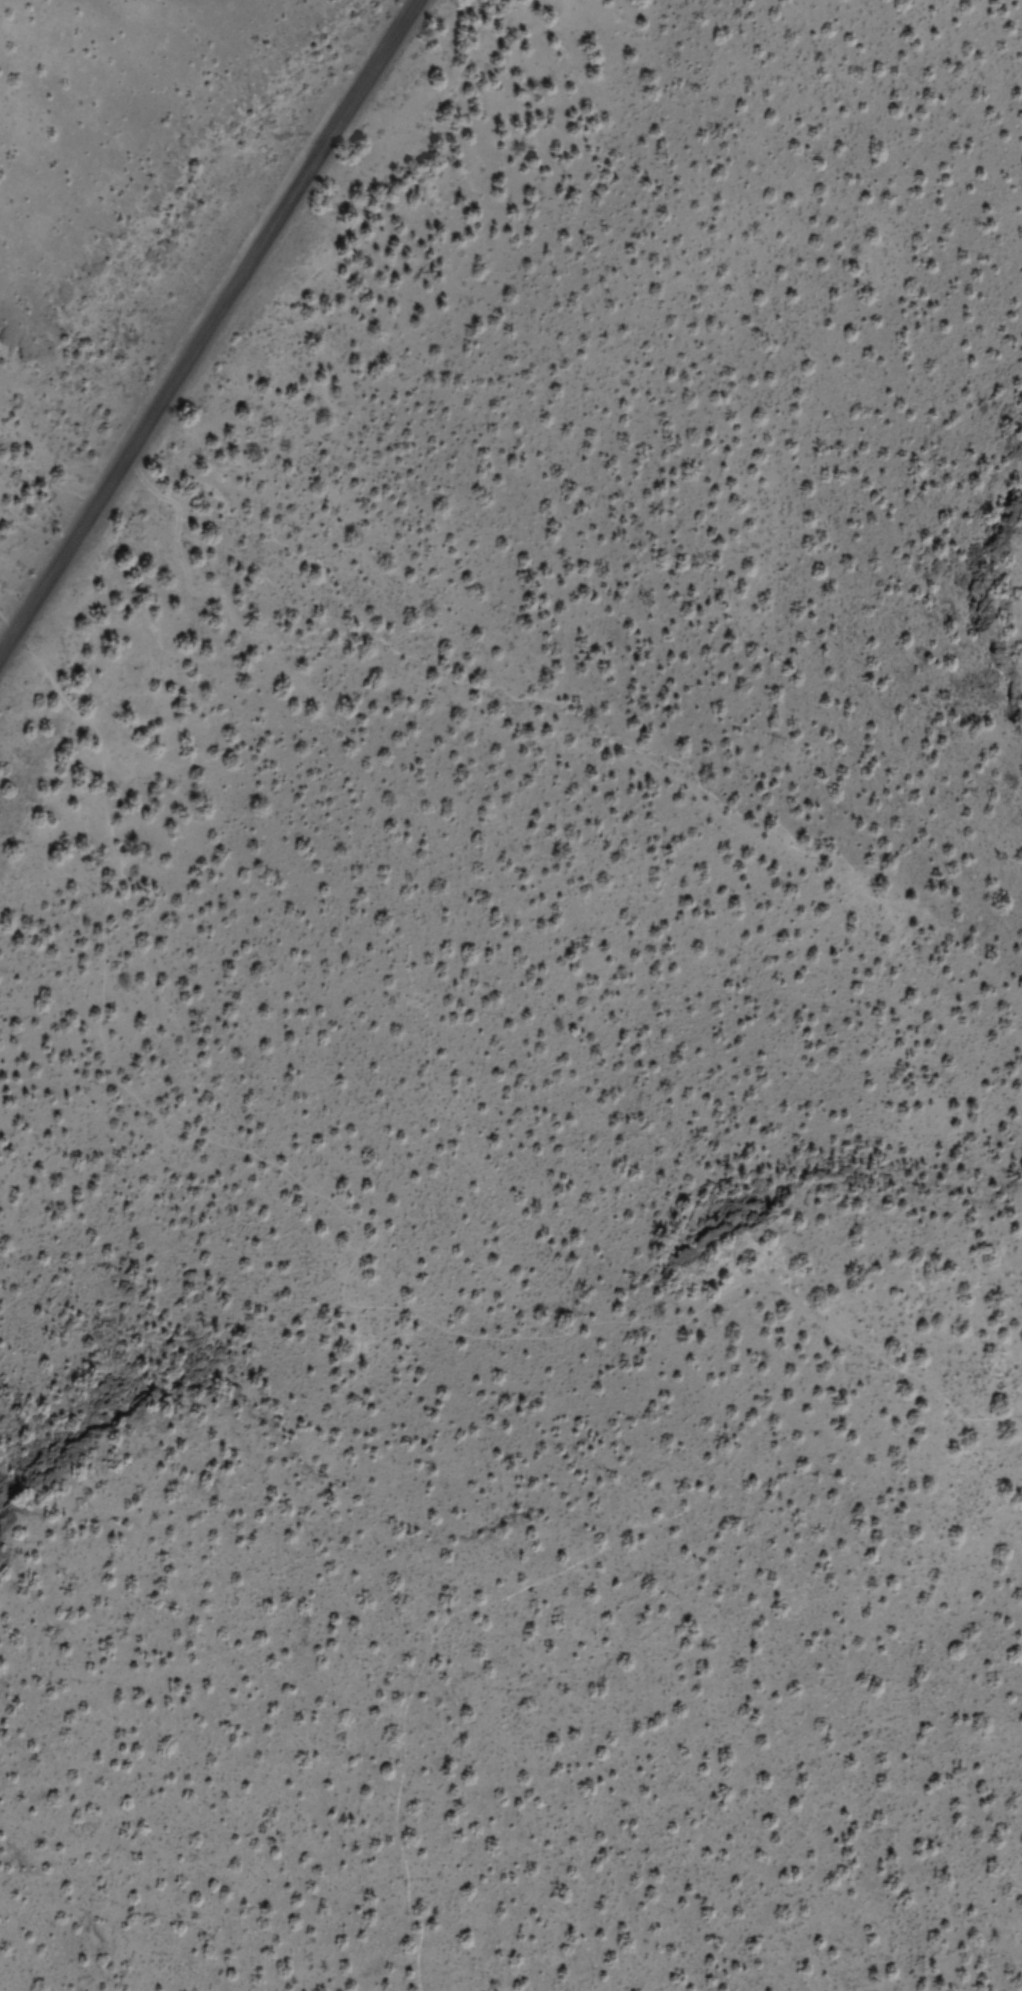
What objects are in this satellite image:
road: (206, 330)

